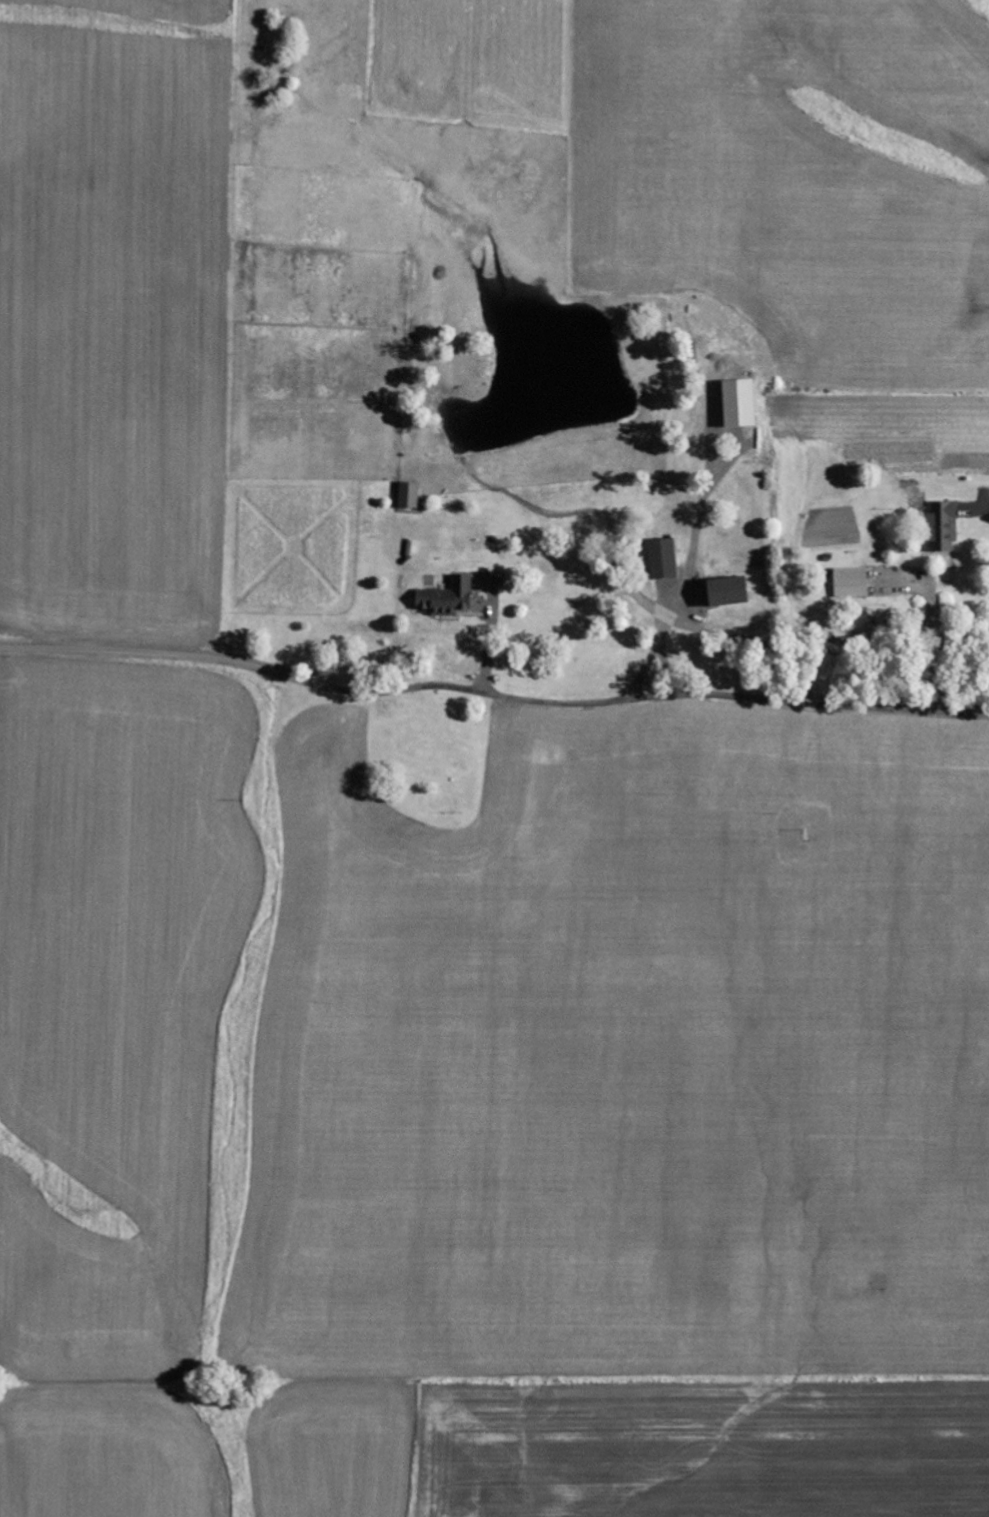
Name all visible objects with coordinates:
building: (743, 404)
building: (410, 495)
building: (945, 528)
building: (668, 561)
building: (852, 583)
building: (732, 593)
building: (450, 598)
road: (538, 632)
road: (535, 651)
road: (492, 693)

